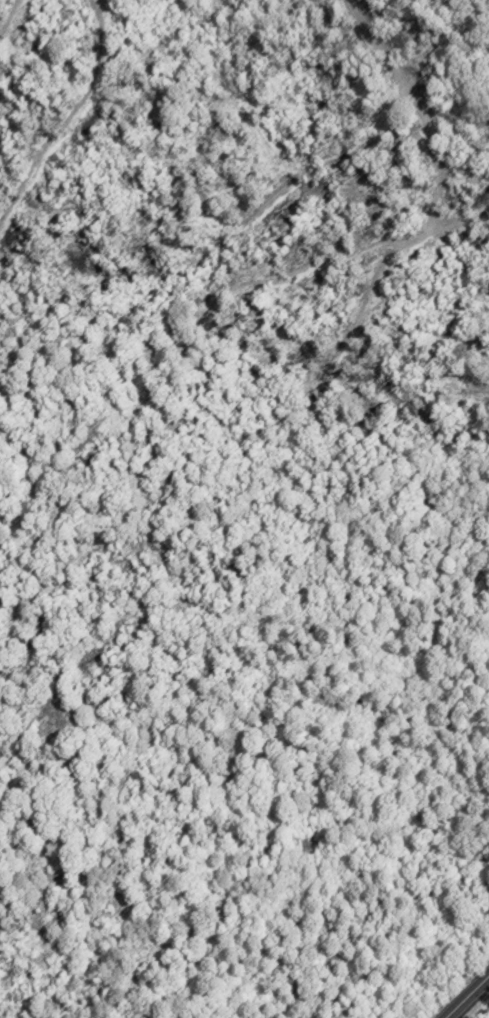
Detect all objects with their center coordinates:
road: (466, 995)

